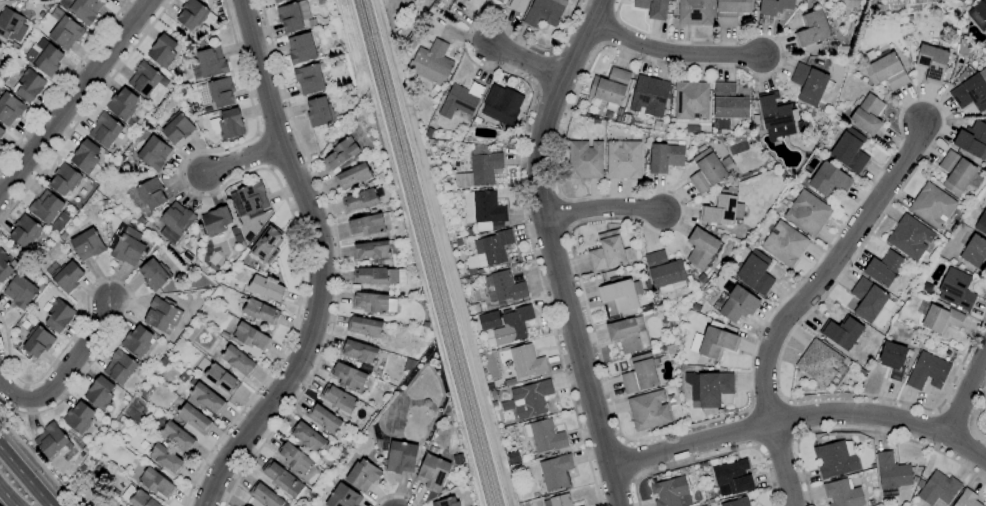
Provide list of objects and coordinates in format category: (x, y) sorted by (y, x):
building: (105, 0)
building: (106, 0)
building: (466, 0)
building: (859, 0)
building: (278, 1)
building: (915, 1)
building: (961, 1)
building: (518, 5)
building: (774, 6)
building: (653, 8)
building: (81, 9)
building: (730, 11)
building: (544, 12)
building: (695, 12)
building: (194, 15)
building: (979, 15)
building: (292, 16)
building: (11, 25)
building: (64, 30)
building: (812, 32)
building: (415, 43)
building: (0, 46)
building: (301, 49)
building: (957, 49)
building: (964, 49)
building: (162, 51)
building: (841, 51)
road: (677, 52)
building: (44, 58)
building: (211, 63)
building: (431, 63)
road: (523, 63)
building: (932, 63)
building: (886, 72)
building: (310, 78)
building: (144, 79)
road: (62, 82)
building: (29, 85)
building: (811, 85)
building: (610, 88)
building: (970, 89)
building: (217, 92)
road: (78, 96)
building: (649, 96)
building: (461, 100)
building: (691, 101)
building: (728, 103)
building: (122, 104)
building: (497, 106)
building: (9, 107)
road: (85, 110)
building: (774, 111)
building: (319, 112)
building: (867, 115)
building: (627, 119)
building: (227, 124)
building: (489, 124)
building: (658, 126)
building: (178, 128)
building: (104, 130)
building: (1, 132)
building: (973, 139)
building: (0, 143)
building: (849, 151)
building: (153, 153)
building: (341, 153)
building: (85, 156)
building: (665, 157)
building: (584, 160)
building: (623, 160)
road: (241, 162)
building: (480, 169)
building: (708, 169)
road: (520, 171)
building: (956, 172)
building: (352, 176)
building: (64, 179)
building: (829, 180)
road: (276, 184)
building: (152, 193)
building: (248, 198)
building: (360, 200)
building: (932, 205)
building: (45, 207)
building: (482, 210)
building: (721, 211)
road: (603, 212)
building: (807, 213)
building: (216, 221)
building: (59, 222)
building: (175, 222)
building: (981, 223)
building: (366, 225)
building: (24, 231)
building: (909, 237)
building: (87, 244)
building: (784, 244)
building: (126, 245)
building: (266, 246)
road: (554, 248)
building: (701, 248)
building: (371, 250)
building: (489, 251)
building: (607, 251)
building: (974, 251)
railway: (420, 253)
railway: (430, 253)
road: (320, 259)
road: (337, 262)
building: (4, 266)
building: (884, 268)
road: (829, 270)
building: (664, 272)
building: (755, 273)
building: (154, 274)
building: (612, 275)
building: (379, 276)
building: (68, 277)
road: (111, 278)
building: (503, 287)
building: (266, 288)
building: (956, 290)
building: (20, 292)
building: (621, 296)
building: (867, 300)
building: (374, 302)
building: (738, 305)
building: (646, 309)
building: (260, 312)
building: (161, 314)
building: (59, 315)
building: (938, 318)
building: (489, 321)
building: (513, 325)
building: (365, 327)
building: (841, 333)
building: (628, 335)
building: (250, 336)
building: (37, 341)
building: (137, 341)
building: (716, 343)
building: (360, 351)
building: (892, 359)
building: (238, 361)
building: (526, 362)
building: (818, 362)
building: (119, 367)
building: (927, 371)
road: (65, 375)
building: (639, 375)
building: (349, 376)
building: (221, 379)
building: (509, 382)
building: (708, 388)
building: (99, 393)
road: (968, 395)
building: (205, 399)
building: (340, 399)
building: (528, 399)
road: (6, 406)
building: (648, 411)
road: (801, 416)
road: (974, 417)
building: (78, 418)
building: (194, 418)
building: (324, 419)
building: (172, 432)
road: (862, 432)
road: (665, 433)
building: (544, 436)
building: (308, 438)
building: (50, 440)
road: (712, 456)
building: (401, 457)
building: (165, 459)
building: (295, 459)
building: (836, 459)
road: (38, 461)
road: (630, 461)
road: (782, 465)
building: (433, 472)
building: (555, 472)
building: (891, 472)
building: (362, 475)
road: (24, 477)
building: (731, 478)
building: (156, 482)
building: (286, 482)
building: (920, 484)
building: (938, 489)
building: (671, 492)
road: (395, 494)
building: (842, 494)
building: (264, 495)
building: (343, 497)
building: (138, 498)
road: (5, 499)
building: (967, 499)
building: (558, 501)
building: (446, 502)
building: (737, 502)
building: (119, 505)
building: (581, 505)

